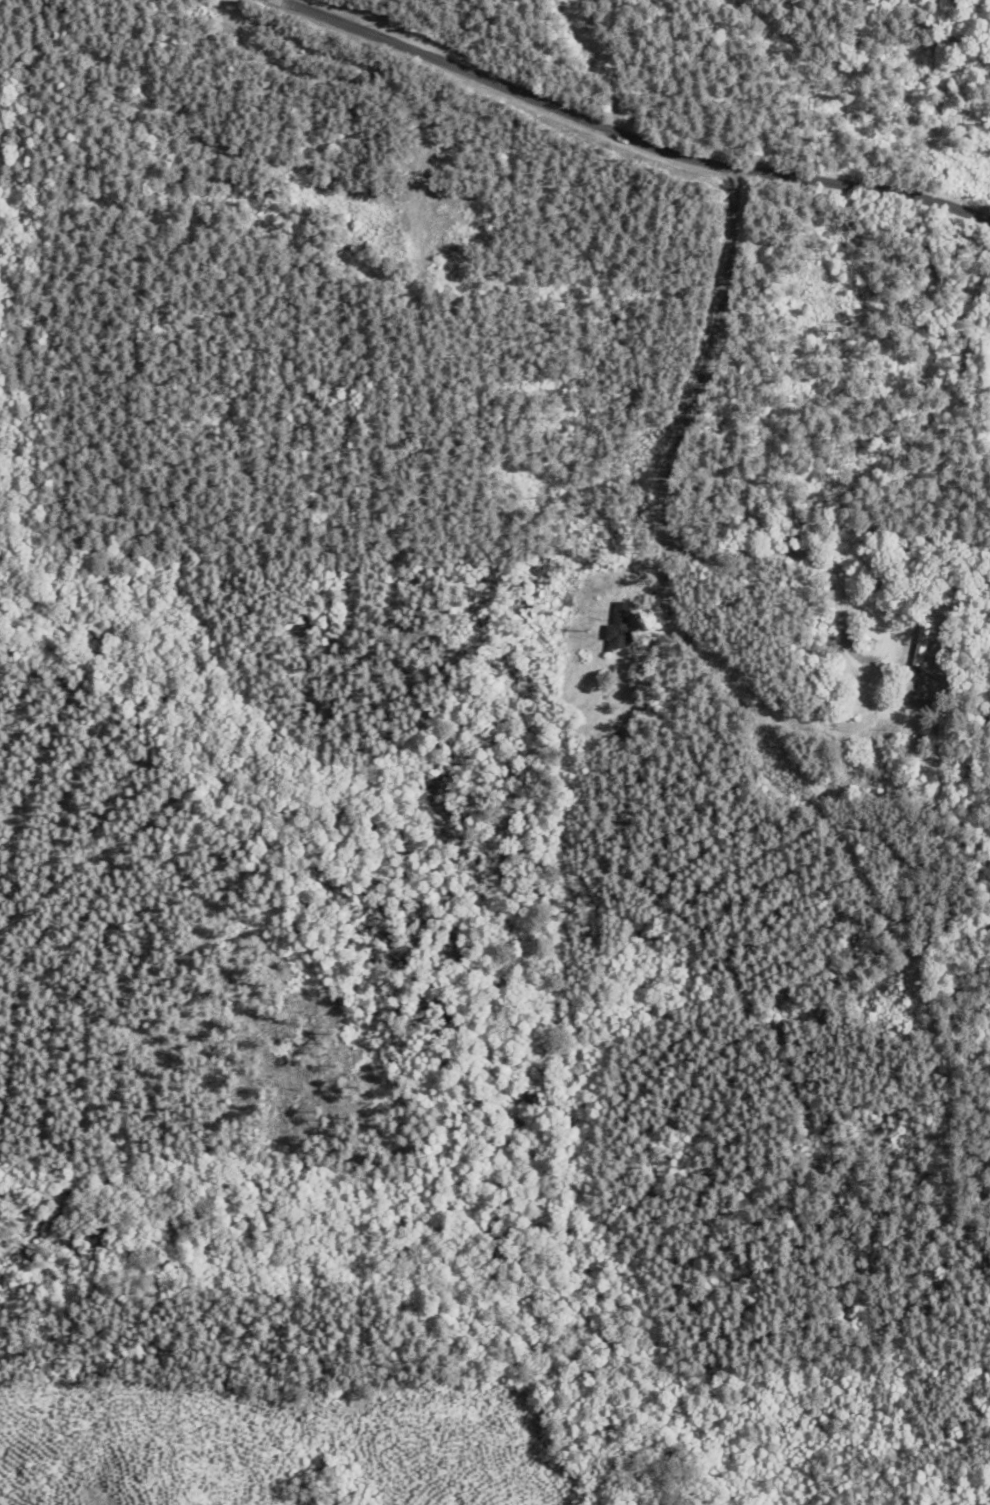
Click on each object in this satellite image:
road: (646, 105)
building: (618, 629)

